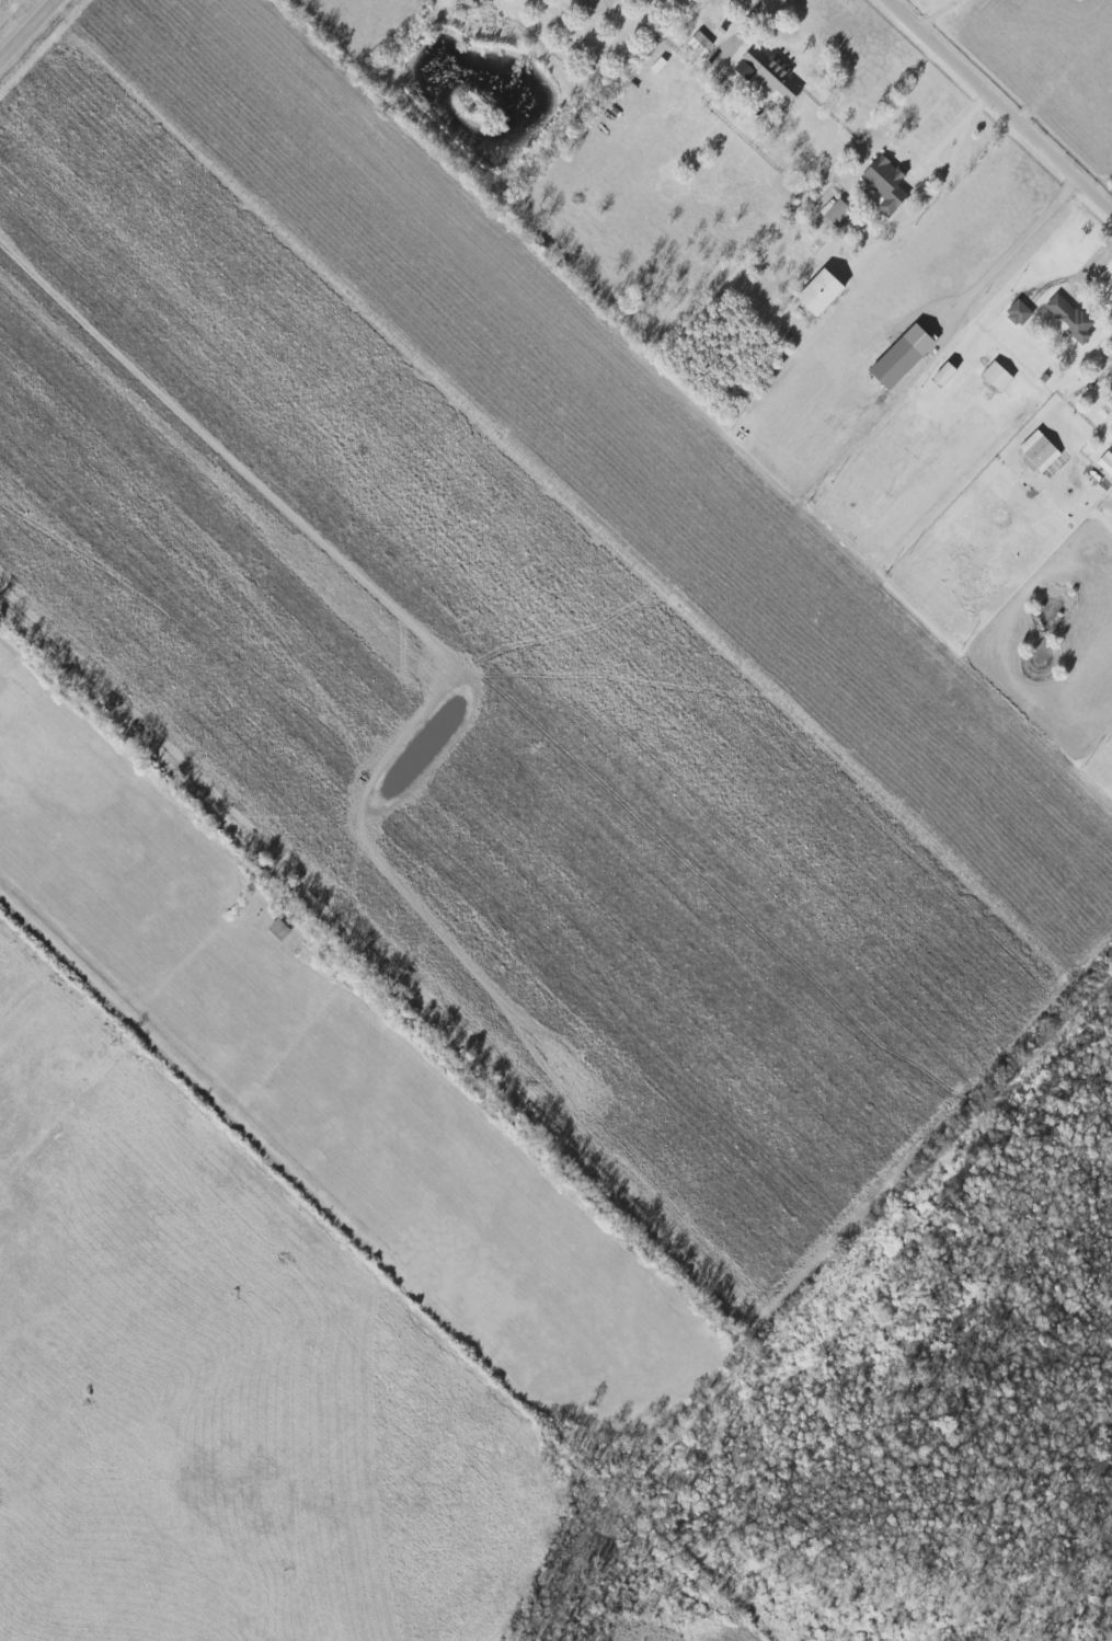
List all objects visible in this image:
road: (947, 16)
road: (754, 18)
road: (27, 28)
building: (702, 44)
road: (608, 47)
building: (775, 76)
road: (1005, 105)
road: (952, 137)
building: (887, 186)
building: (836, 214)
building: (824, 291)
building: (1020, 312)
building: (1070, 319)
building: (898, 362)
building: (948, 372)
building: (1000, 376)
building: (1110, 399)
road: (686, 402)
road: (842, 449)
building: (1041, 451)
building: (1107, 462)

